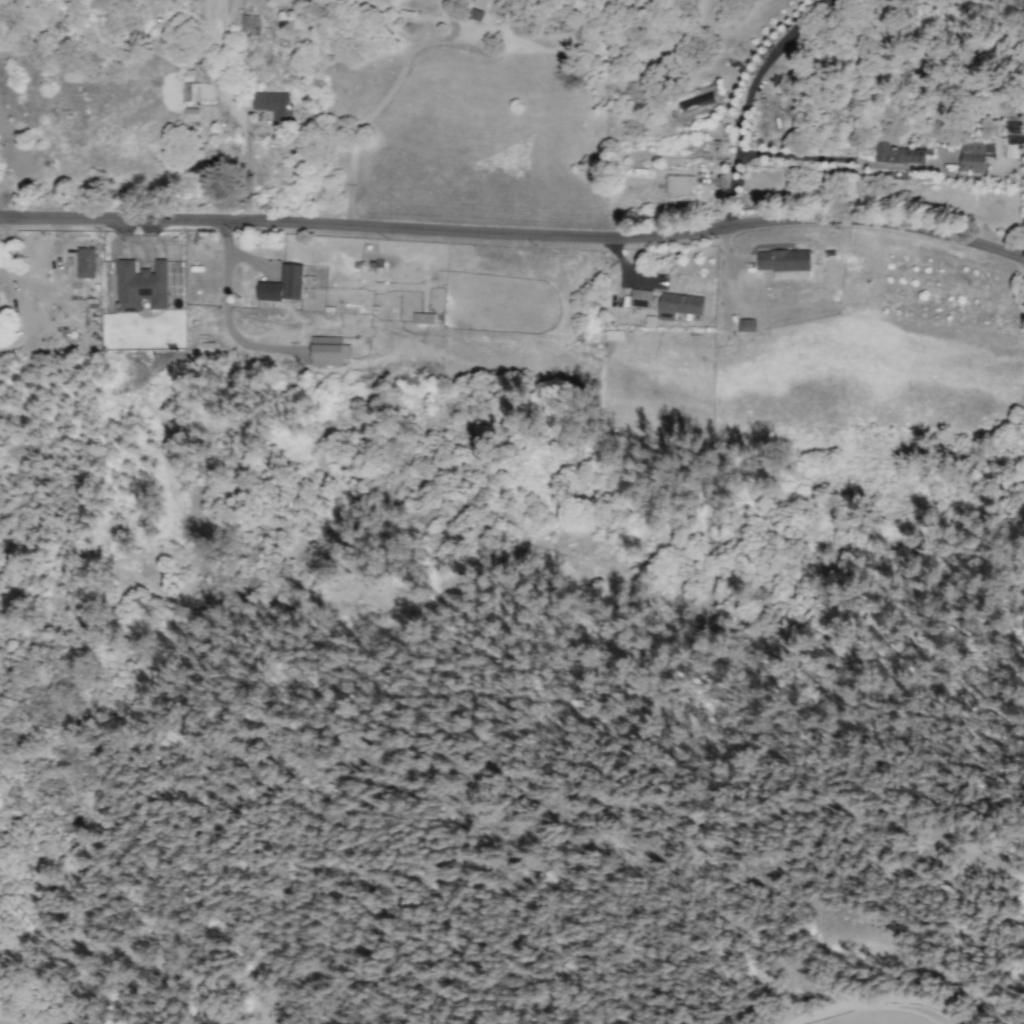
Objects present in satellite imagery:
building: (479, 3)
building: (476, 14)
building: (250, 24)
building: (199, 91)
road: (745, 102)
building: (273, 104)
building: (1010, 150)
building: (898, 154)
building: (975, 154)
building: (204, 158)
building: (679, 185)
road: (3, 212)
road: (515, 235)
building: (85, 262)
building: (284, 284)
building: (141, 285)
building: (641, 297)
building: (679, 305)
road: (228, 315)
building: (423, 317)
building: (746, 324)
building: (328, 351)
crop: (869, 1019)
crop: (0, 1023)

